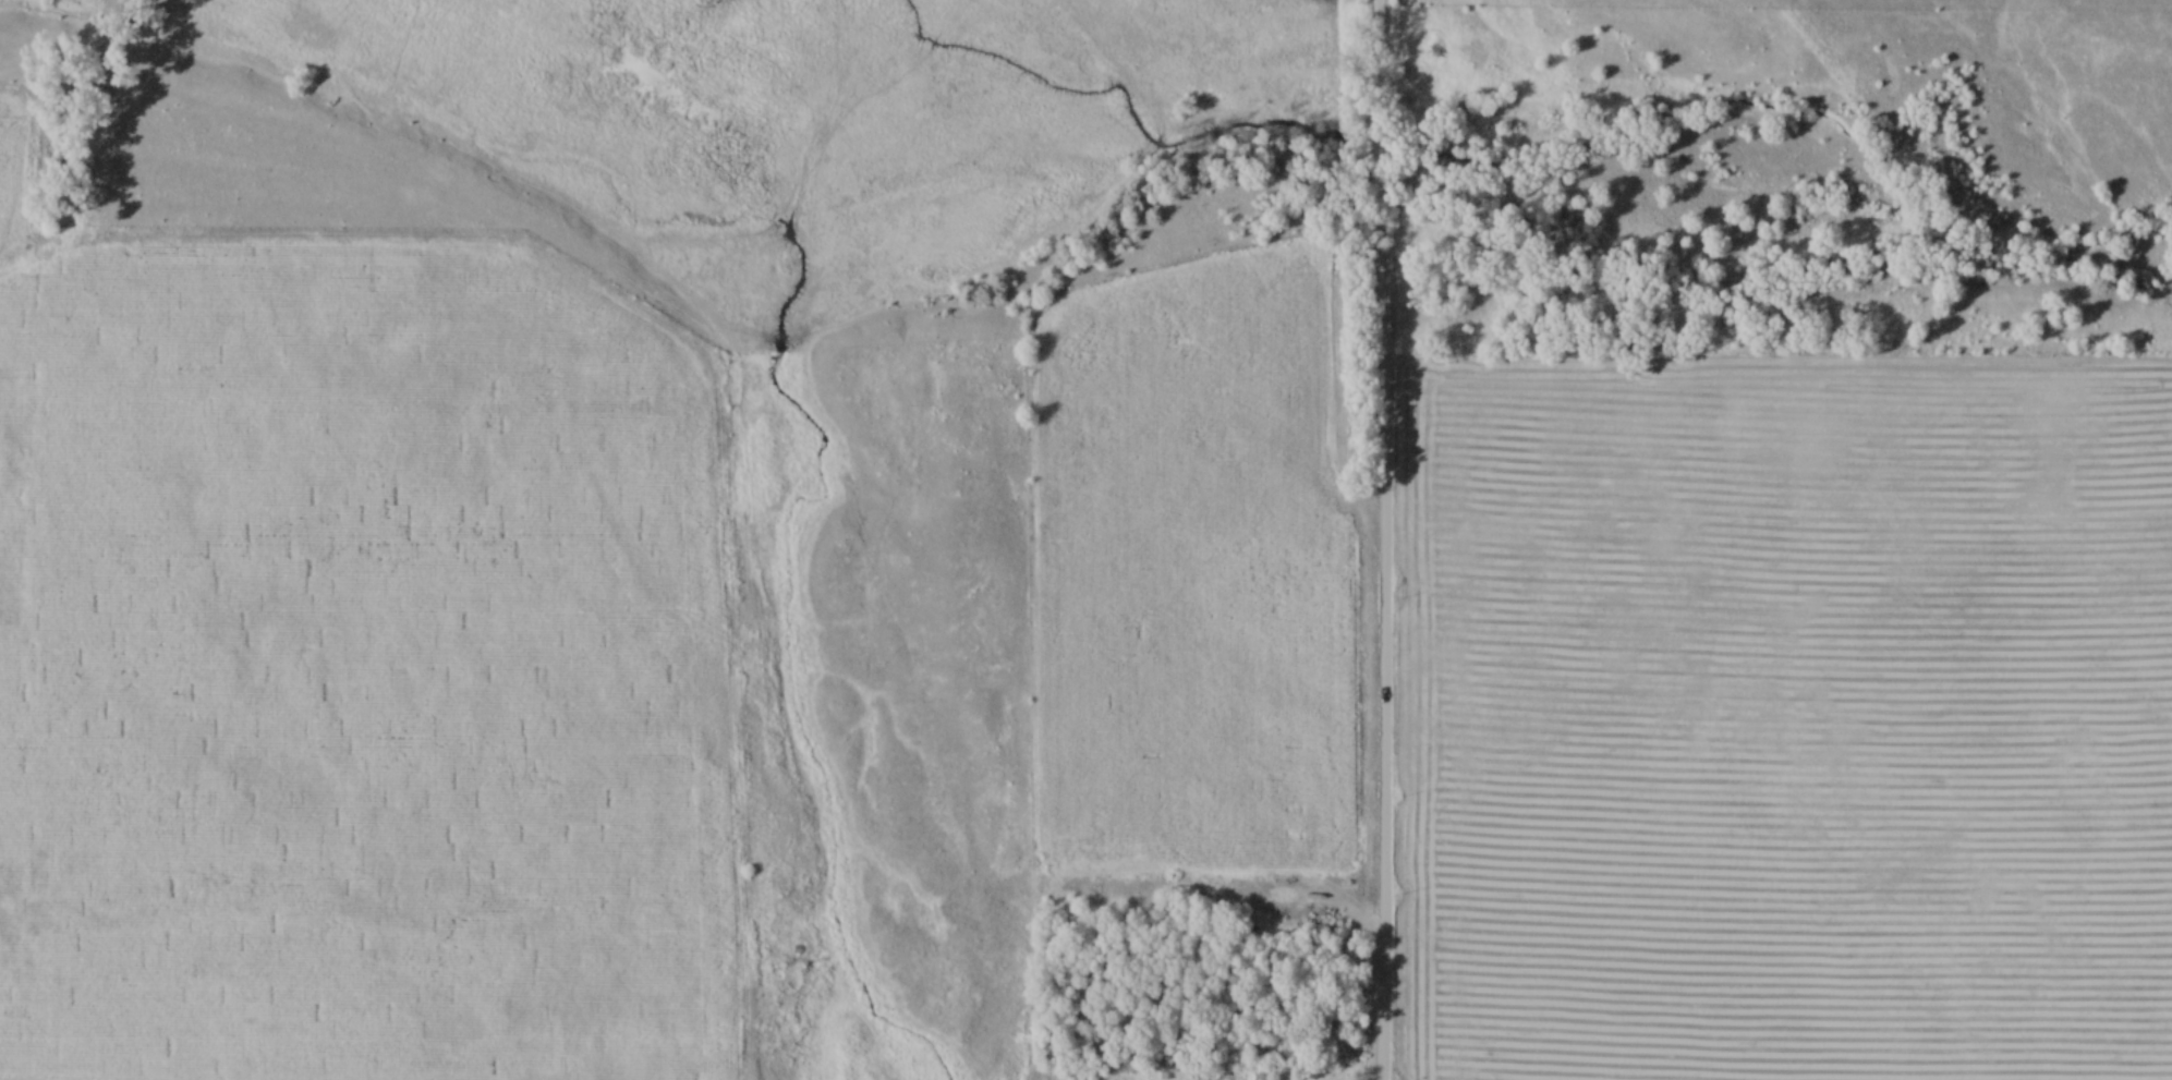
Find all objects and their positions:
road: (1380, 539)

